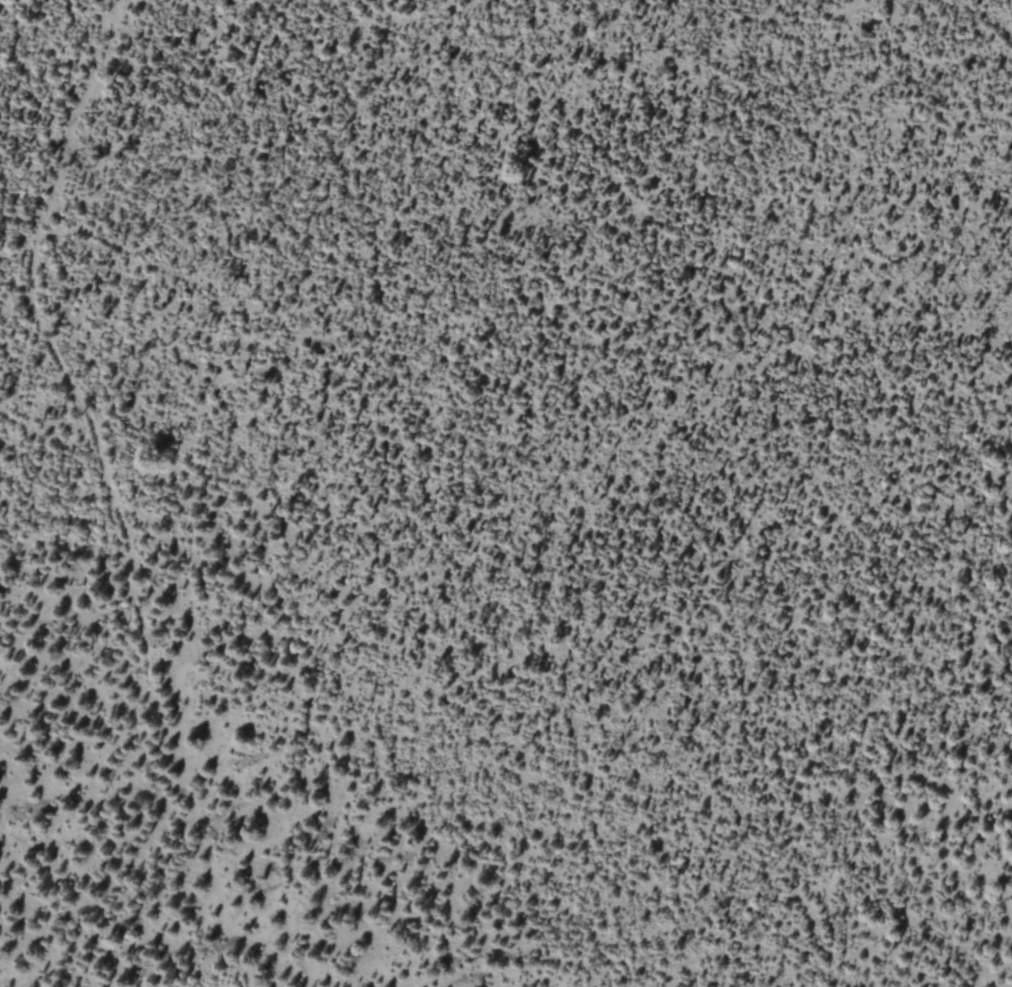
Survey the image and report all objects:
road: (142, 496)

